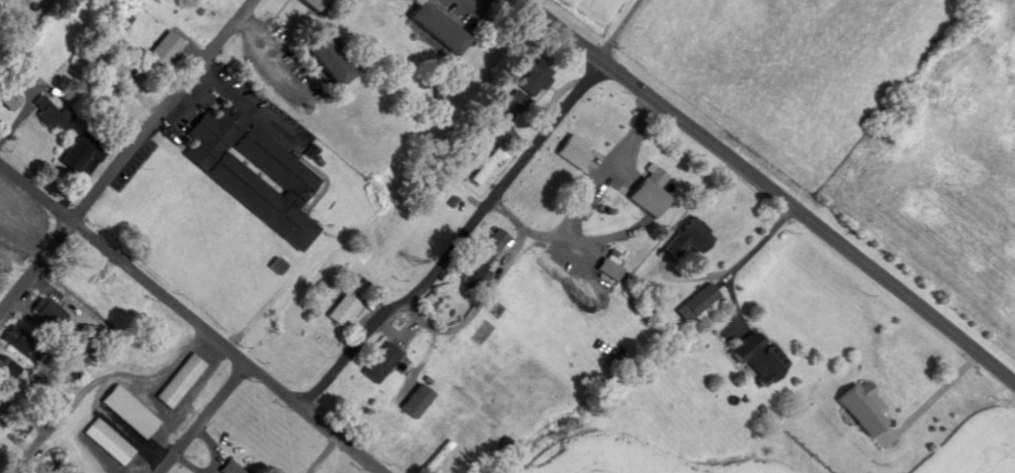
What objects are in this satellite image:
building: (313, 4)
building: (441, 28)
road: (565, 32)
road: (626, 32)
building: (171, 46)
building: (329, 61)
building: (535, 79)
building: (12, 97)
building: (519, 102)
building: (58, 115)
building: (574, 151)
road: (128, 153)
building: (78, 157)
building: (491, 165)
building: (255, 173)
building: (652, 192)
road: (811, 222)
building: (690, 239)
road: (459, 242)
building: (486, 257)
building: (279, 266)
road: (172, 302)
building: (697, 303)
building: (344, 311)
building: (50, 313)
building: (18, 342)
building: (760, 359)
building: (382, 363)
building: (8, 370)
building: (183, 380)
building: (417, 402)
building: (865, 408)
building: (131, 411)
road: (204, 419)
building: (110, 441)
road: (362, 459)
building: (234, 468)

